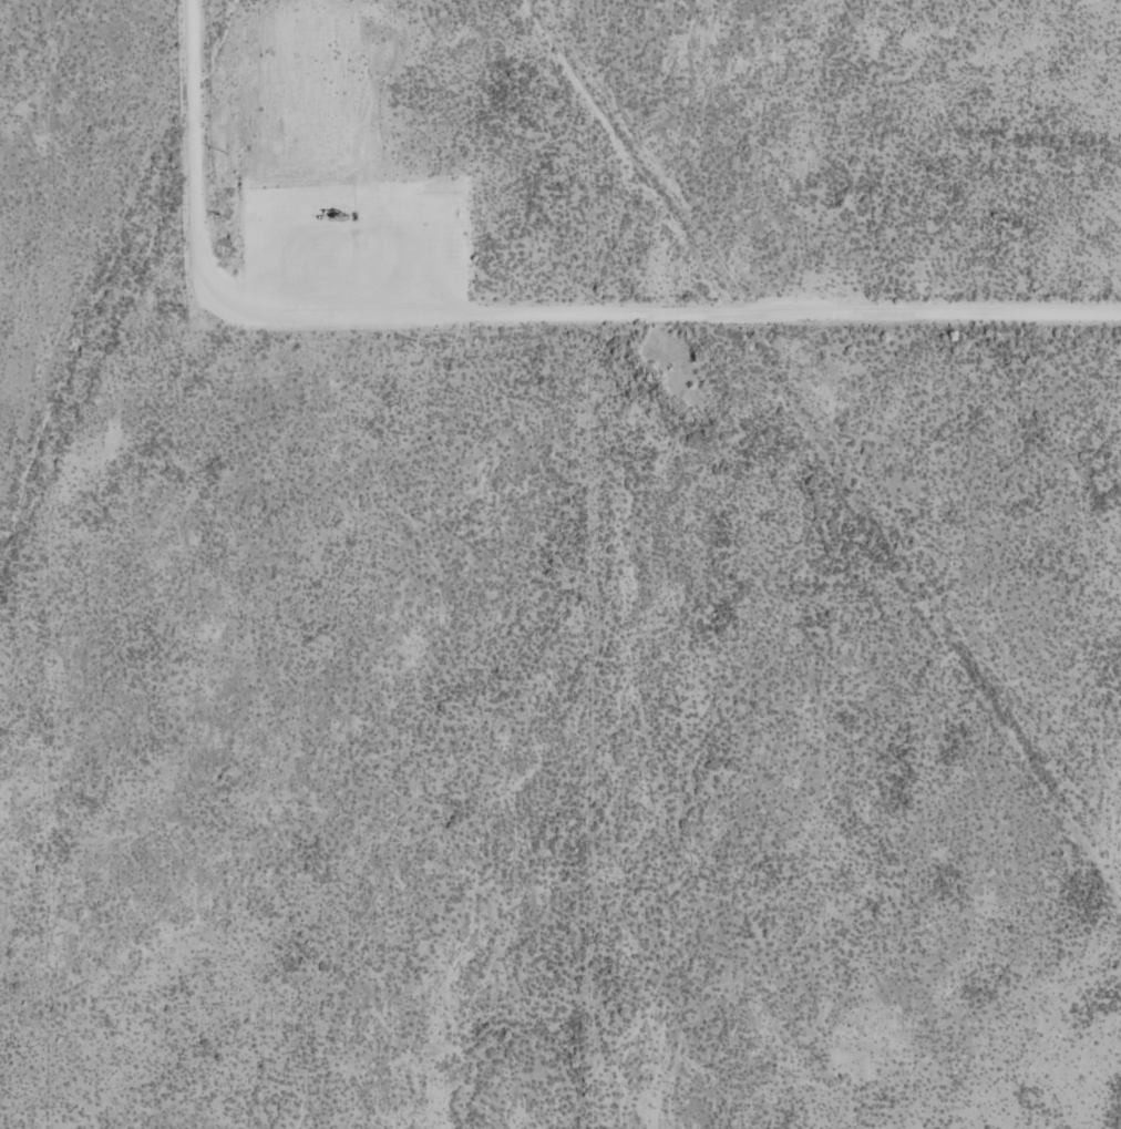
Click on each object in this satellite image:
road: (116, 297)

